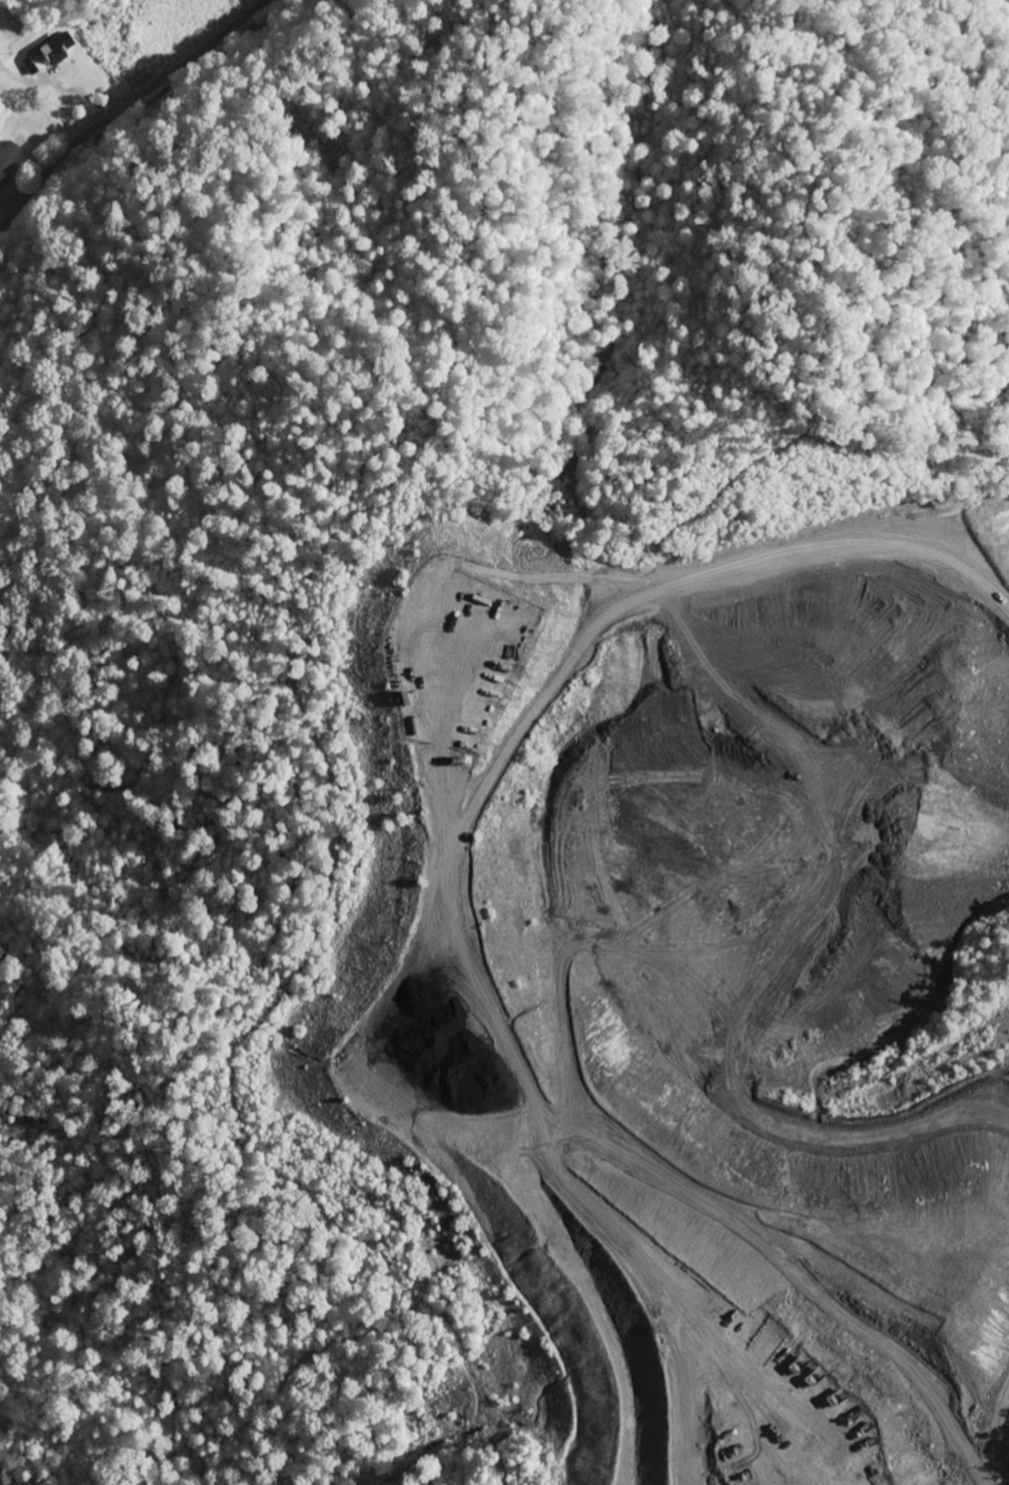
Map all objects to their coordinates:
building: (45, 56)
road: (128, 106)
road: (3, 1480)

